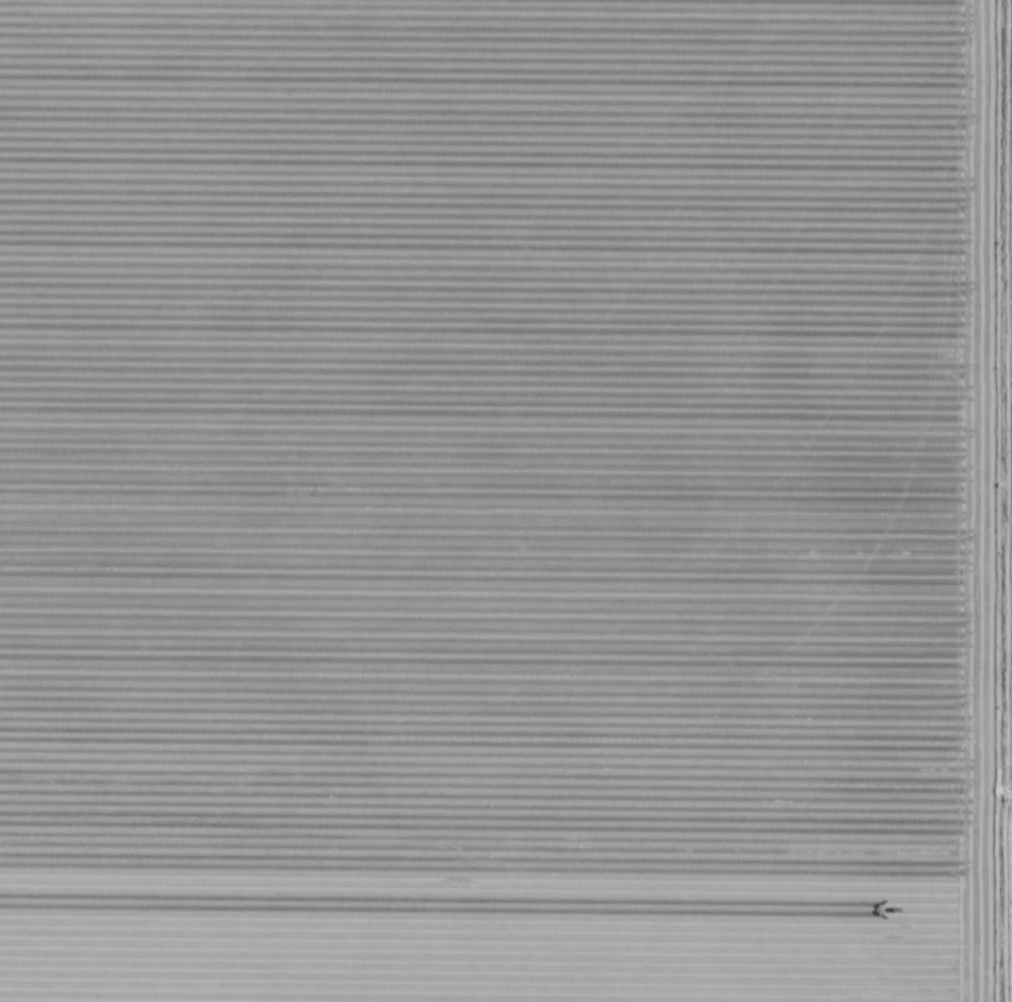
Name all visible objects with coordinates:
crop: (506, 501)

